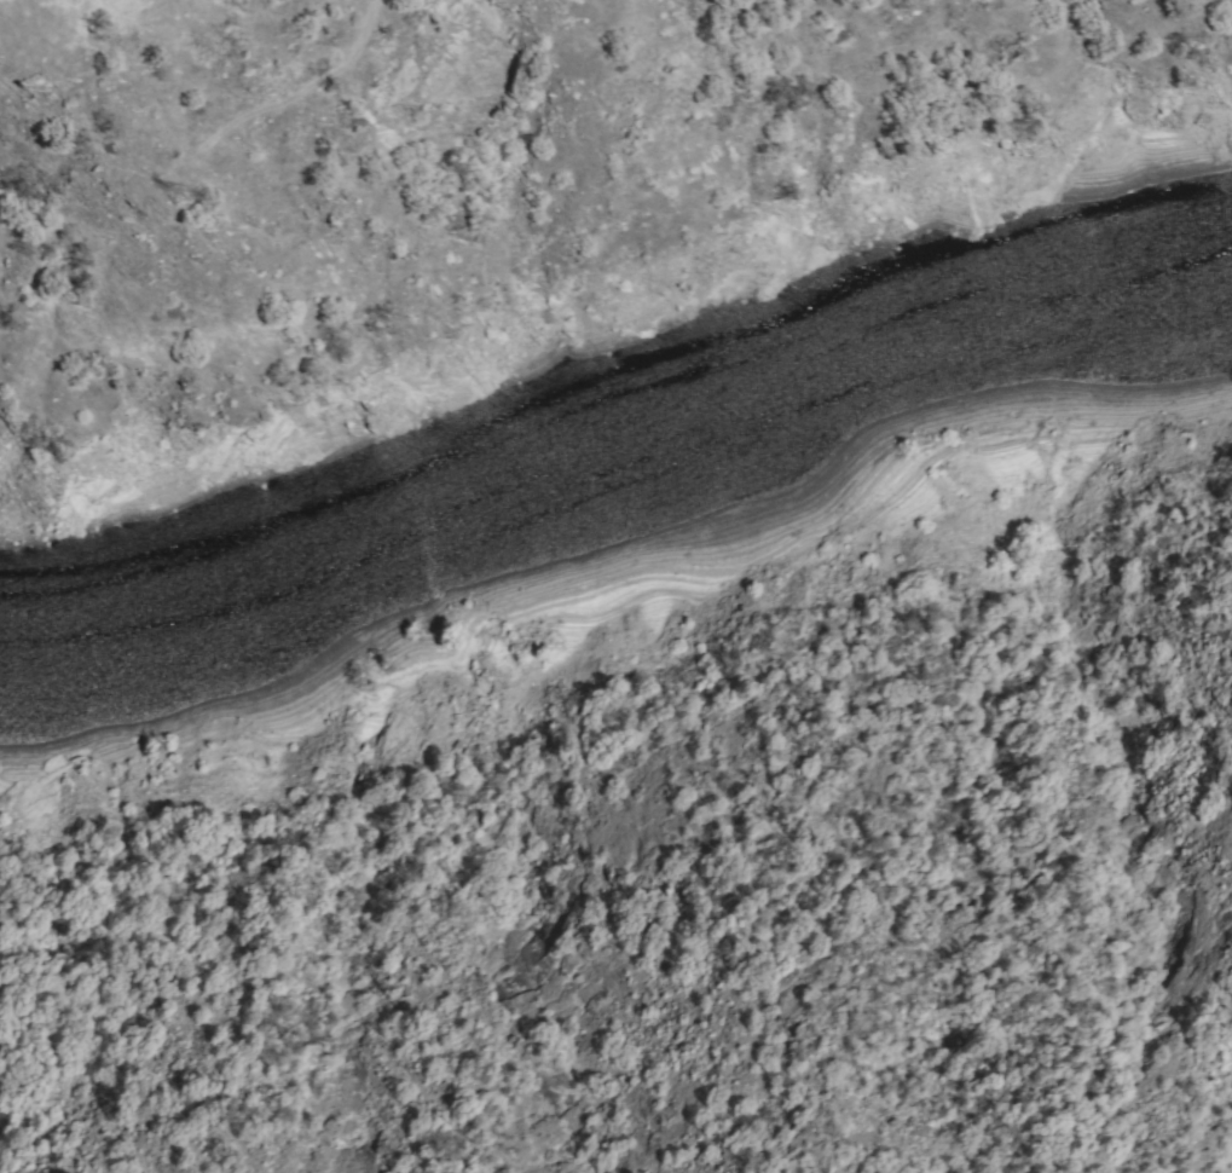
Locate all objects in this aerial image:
power tower: (173, 196)
river: (1193, 285)
river: (814, 409)
river: (241, 622)

